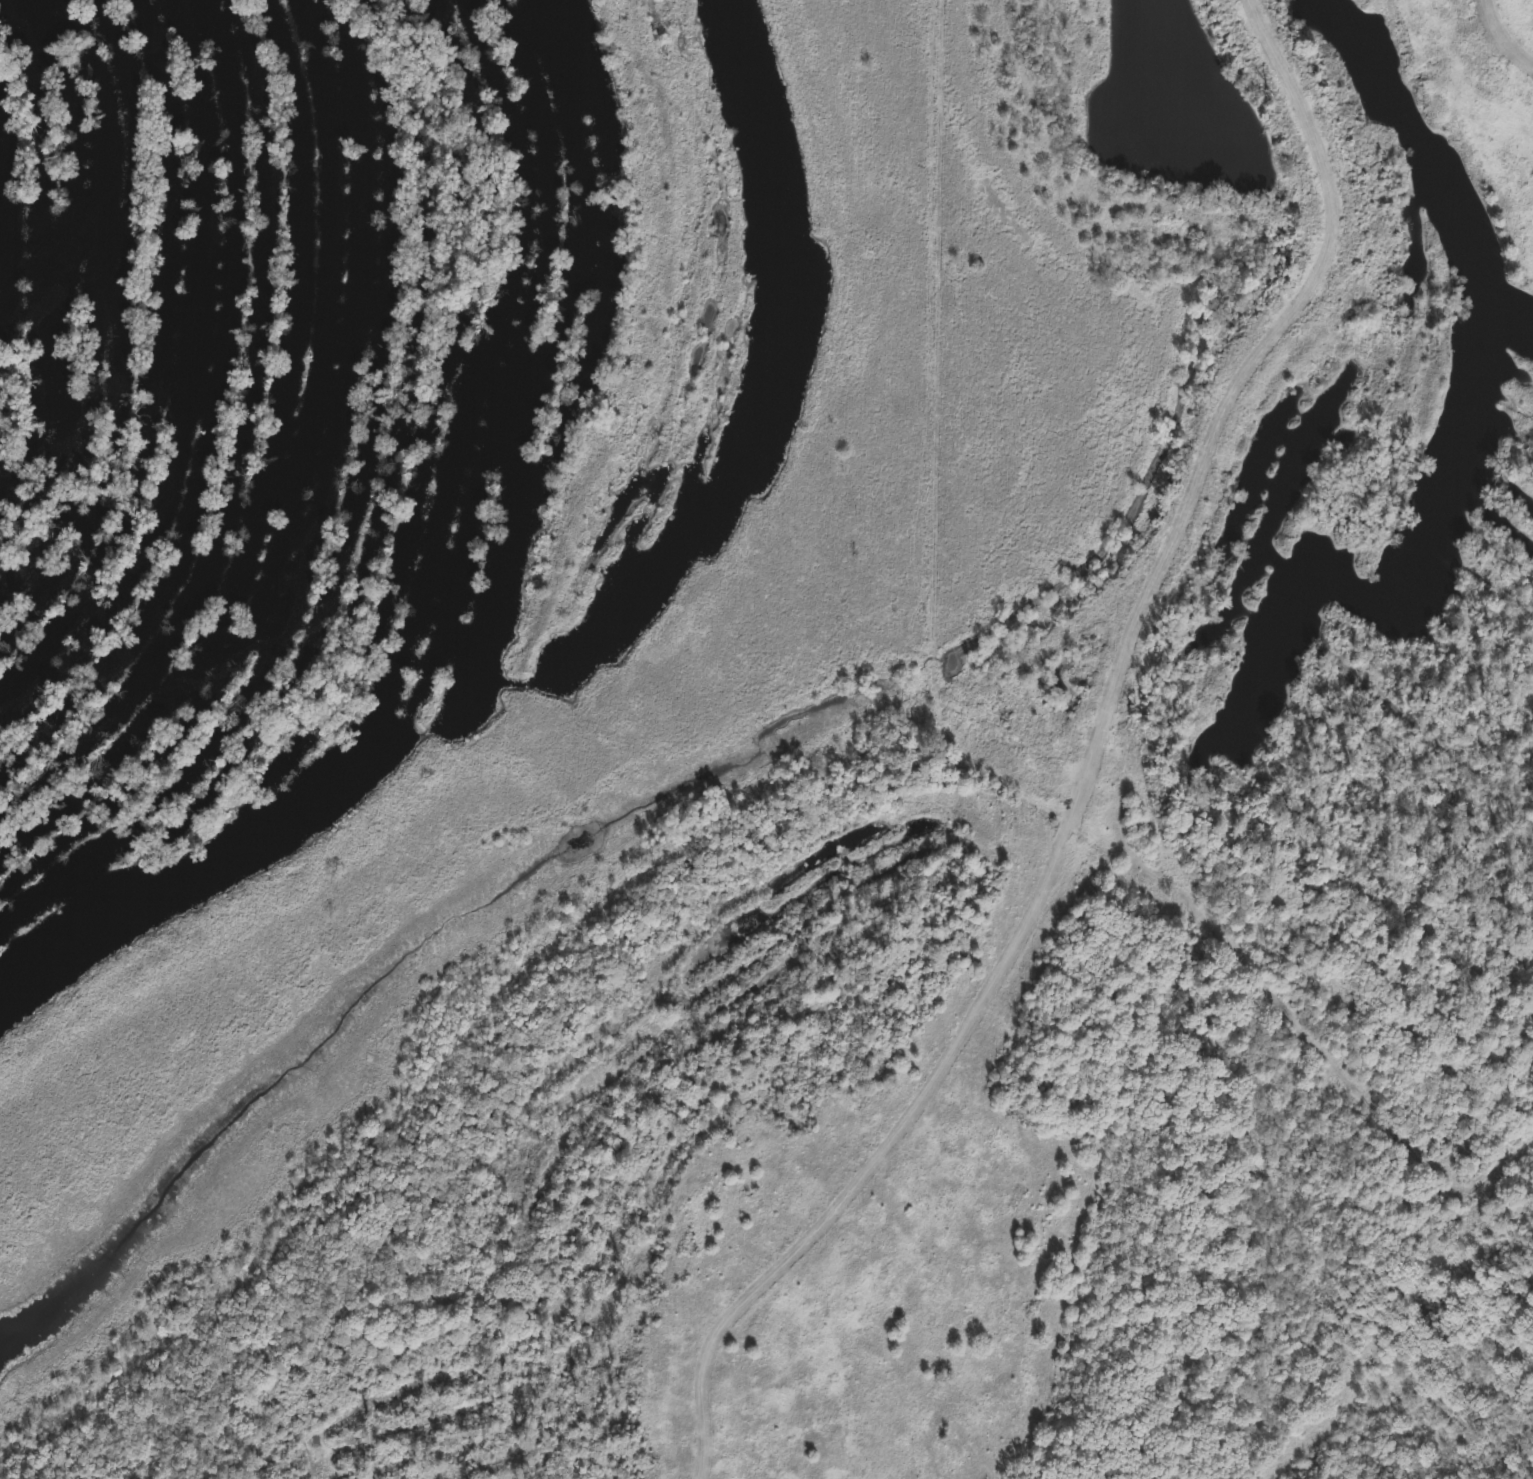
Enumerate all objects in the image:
road: (510, 645)

